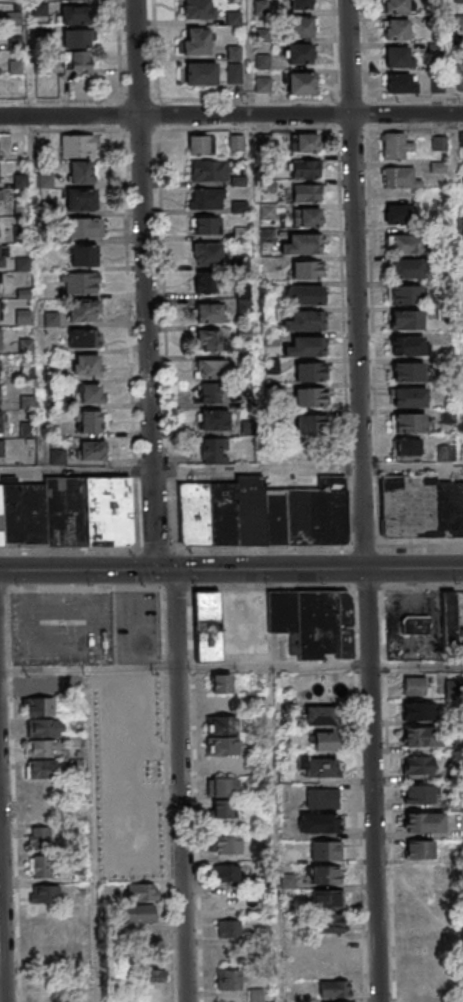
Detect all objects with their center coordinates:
building: (12, 0)
building: (301, 4)
building: (395, 6)
building: (199, 9)
building: (74, 14)
building: (303, 26)
building: (396, 28)
building: (76, 38)
building: (196, 40)
building: (299, 53)
building: (396, 57)
building: (78, 61)
building: (199, 73)
building: (234, 73)
building: (301, 83)
building: (401, 83)
building: (262, 84)
building: (16, 85)
road: (231, 115)
building: (45, 142)
building: (237, 142)
building: (306, 142)
building: (439, 143)
building: (198, 144)
building: (76, 145)
building: (395, 145)
building: (304, 168)
building: (209, 170)
building: (81, 172)
building: (400, 177)
building: (306, 192)
building: (0, 195)
building: (206, 198)
building: (81, 200)
building: (267, 212)
building: (396, 213)
building: (307, 216)
building: (203, 224)
building: (86, 227)
building: (304, 243)
building: (405, 243)
building: (206, 254)
building: (83, 255)
building: (2, 256)
building: (409, 268)
building: (306, 269)
building: (206, 282)
building: (81, 283)
road: (144, 286)
building: (306, 294)
building: (406, 294)
building: (83, 310)
building: (209, 312)
building: (304, 320)
building: (406, 320)
building: (0, 338)
building: (83, 338)
building: (209, 339)
building: (407, 345)
building: (307, 346)
building: (87, 364)
building: (272, 366)
building: (210, 367)
building: (310, 371)
building: (409, 371)
building: (89, 392)
building: (210, 392)
building: (1, 394)
building: (246, 395)
building: (310, 396)
building: (409, 397)
building: (448, 416)
building: (216, 419)
building: (90, 421)
building: (410, 422)
building: (309, 424)
building: (248, 427)
building: (407, 446)
building: (1, 448)
building: (91, 450)
building: (211, 450)
building: (446, 452)
road: (231, 469)
road: (361, 501)
building: (422, 506)
building: (66, 512)
building: (262, 513)
road: (231, 547)
road: (316, 569)
road: (85, 570)
traffic signals: (170, 570)
road: (231, 588)
building: (284, 616)
building: (448, 623)
building: (317, 624)
building: (345, 624)
building: (415, 624)
building: (207, 625)
parking lot: (140, 628)
parking lot: (66, 629)
road: (231, 670)
building: (39, 685)
building: (413, 685)
building: (452, 689)
building: (222, 694)
building: (40, 706)
building: (417, 711)
building: (320, 715)
building: (222, 724)
building: (43, 727)
building: (421, 736)
building: (323, 741)
building: (222, 745)
building: (42, 748)
building: (417, 764)
building: (318, 767)
building: (41, 769)
road: (183, 784)
building: (221, 787)
building: (419, 793)
road: (360, 794)
road: (389, 794)
building: (322, 798)
building: (222, 809)
building: (38, 810)
building: (319, 822)
building: (424, 822)
road: (278, 836)
building: (37, 837)
road: (96, 837)
building: (227, 844)
building: (419, 849)
building: (325, 850)
building: (39, 867)
building: (228, 872)
building: (420, 873)
building: (326, 875)
building: (138, 891)
building: (41, 894)
building: (421, 896)
building: (328, 898)
building: (228, 901)
building: (140, 913)
building: (330, 922)
building: (228, 928)
road: (1, 946)
building: (327, 946)
building: (152, 977)
building: (228, 979)
building: (420, 987)
building: (334, 988)
building: (256, 995)
building: (421, 1001)

